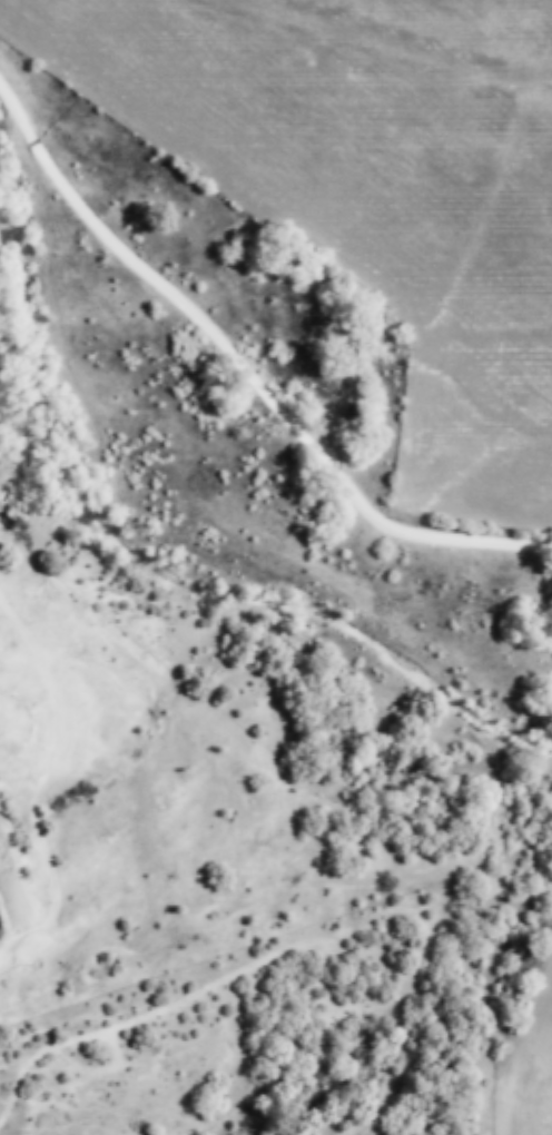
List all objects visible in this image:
road: (246, 357)

